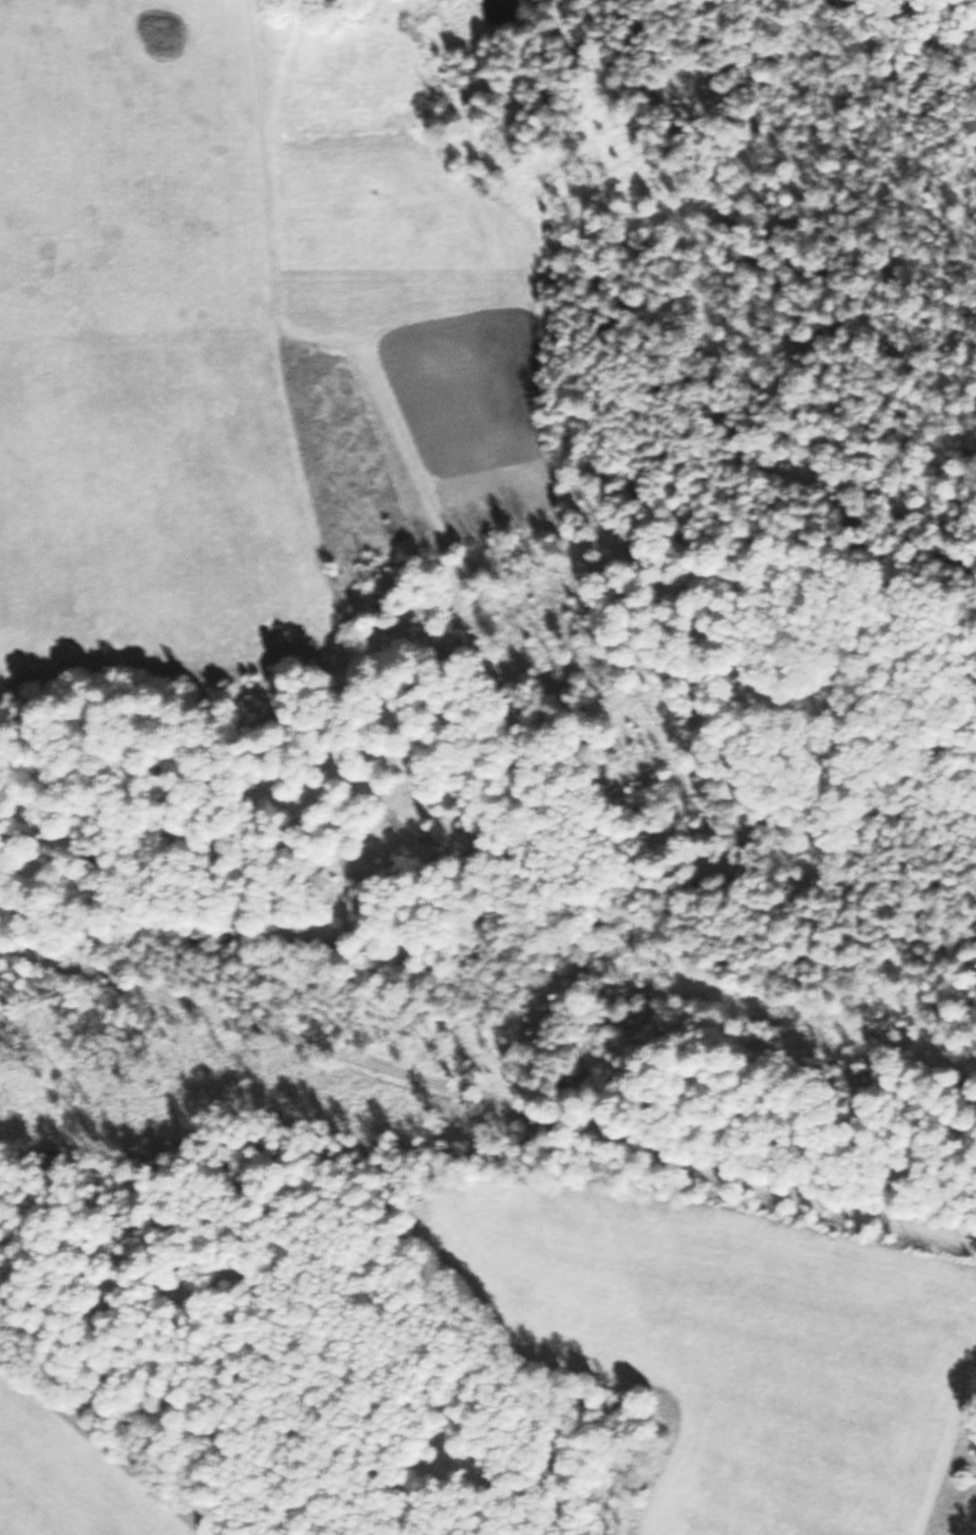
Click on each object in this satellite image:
road: (486, 1101)

